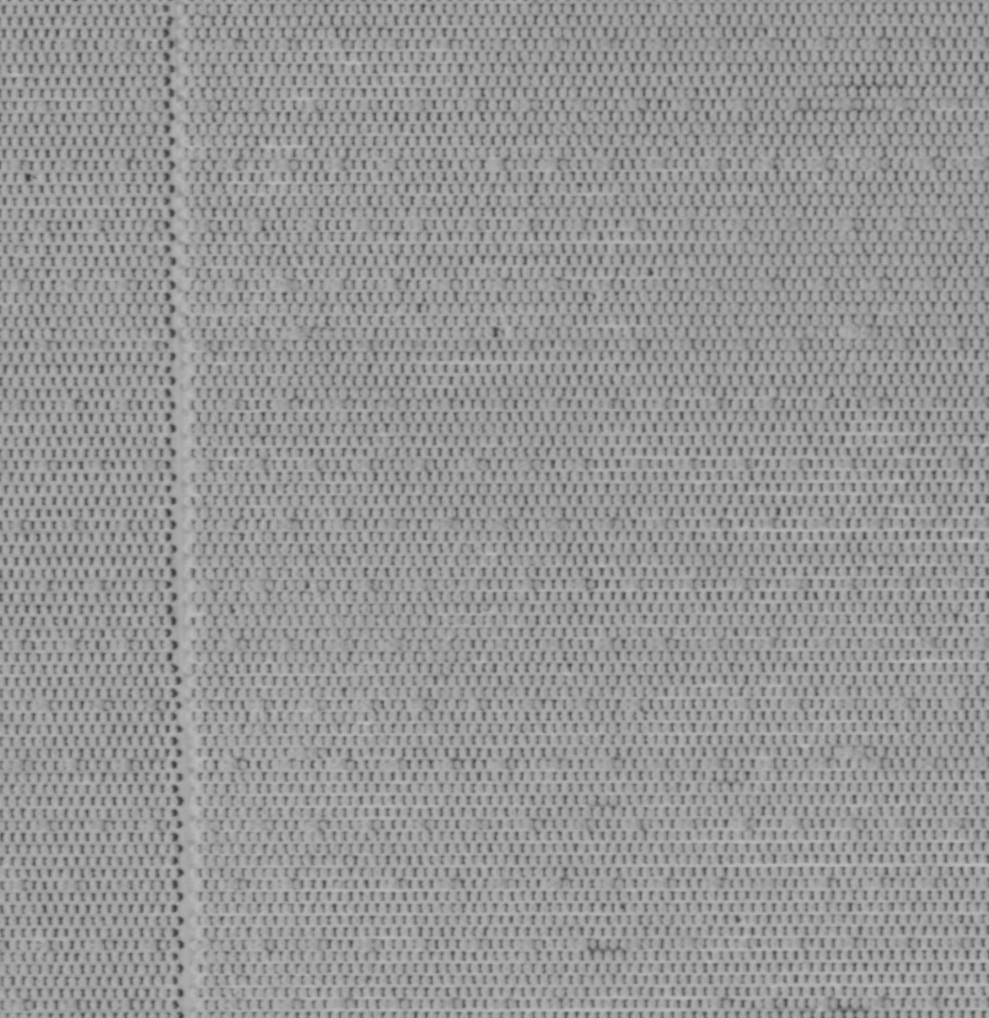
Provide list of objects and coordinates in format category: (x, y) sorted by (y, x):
road: (174, 509)
crop: (494, 509)

